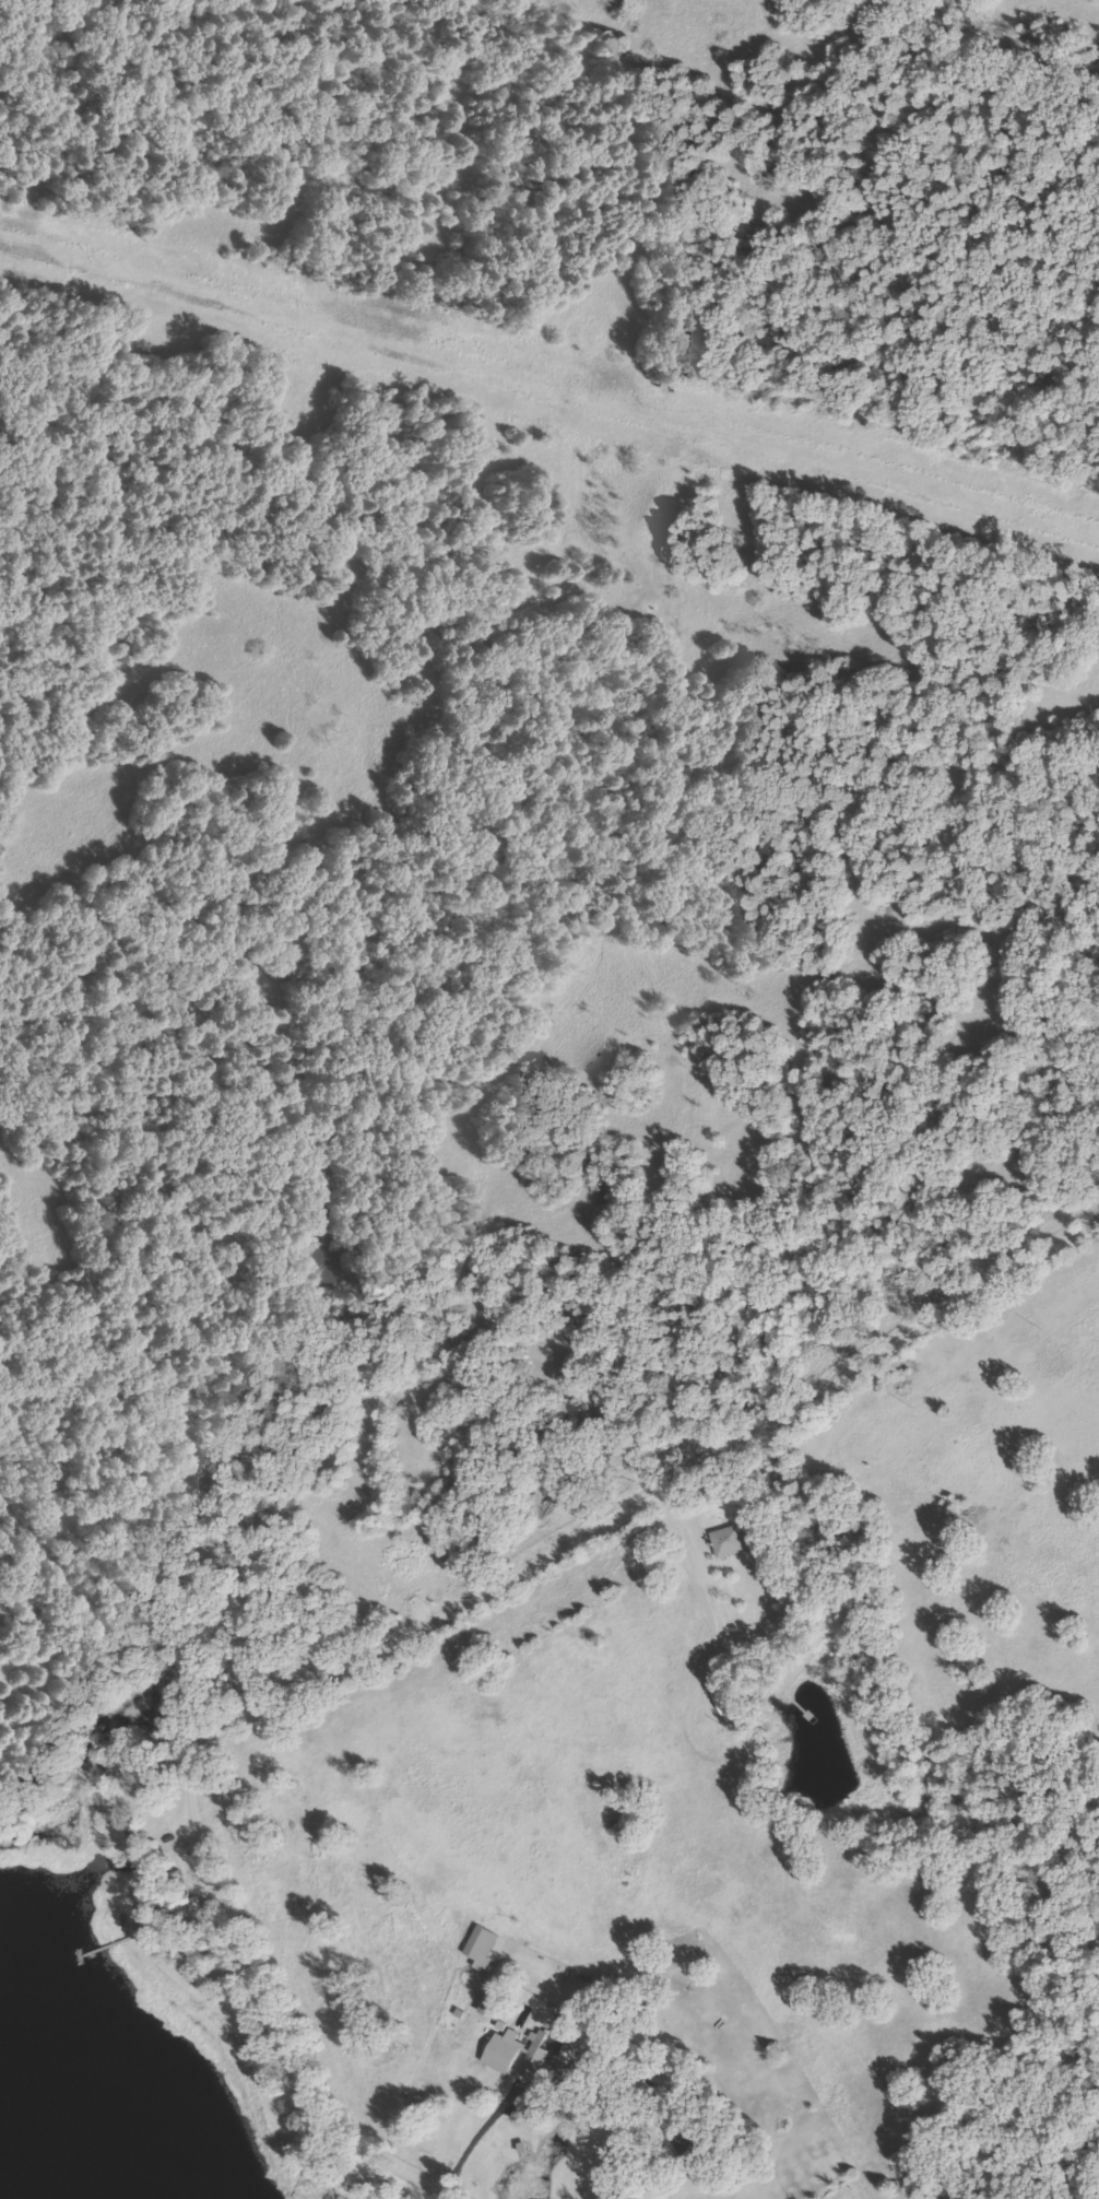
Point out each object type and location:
building: (728, 1540)
road: (684, 1542)
road: (413, 1630)
building: (728, 1702)
building: (480, 1943)
building: (486, 2006)
building: (513, 2054)
road: (660, 2164)

